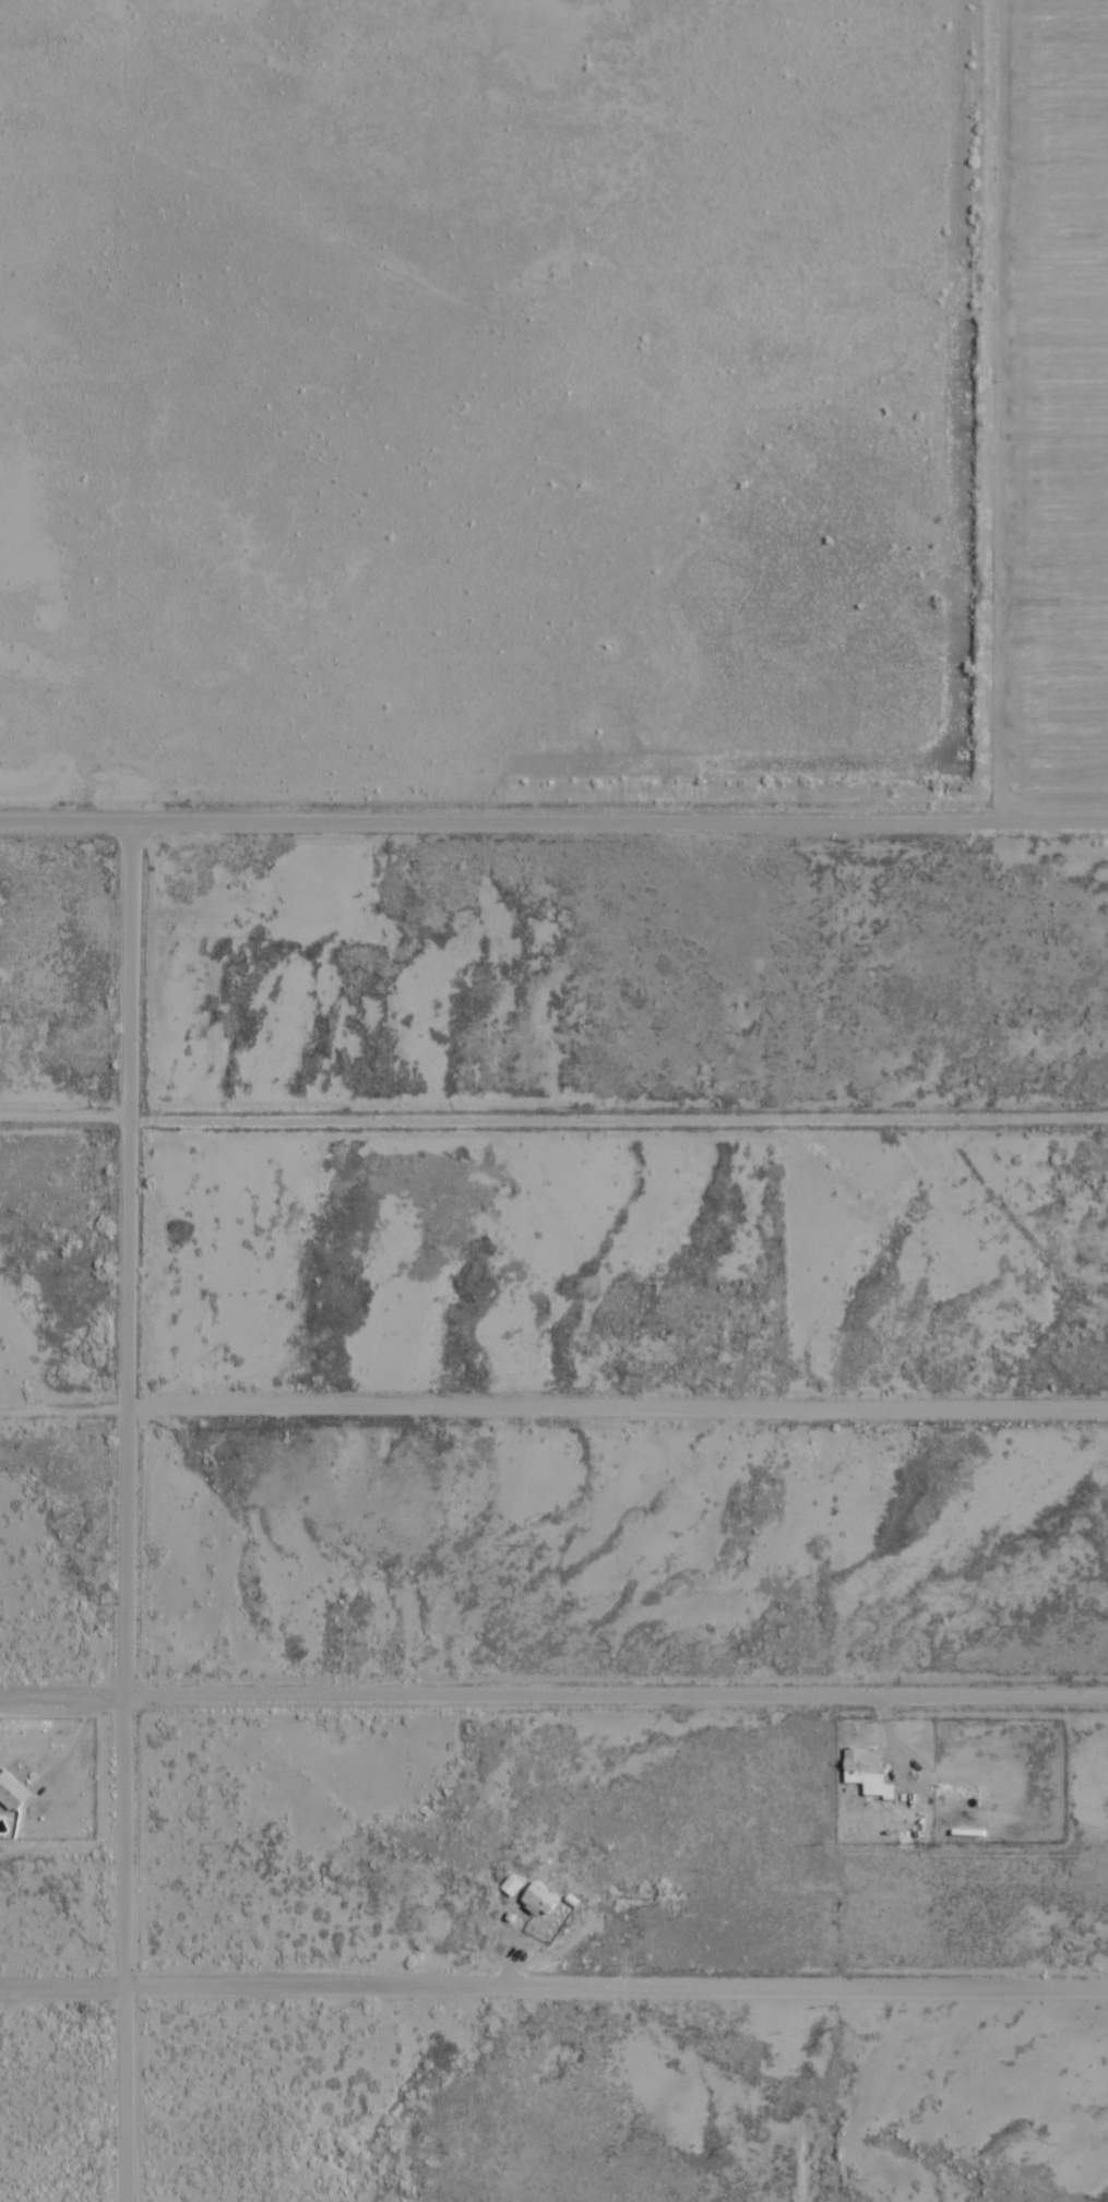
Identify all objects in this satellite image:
road: (989, 395)
road: (553, 805)
road: (553, 1108)
road: (553, 1401)
road: (129, 1511)
road: (553, 1689)
building: (865, 1772)
road: (553, 1976)

